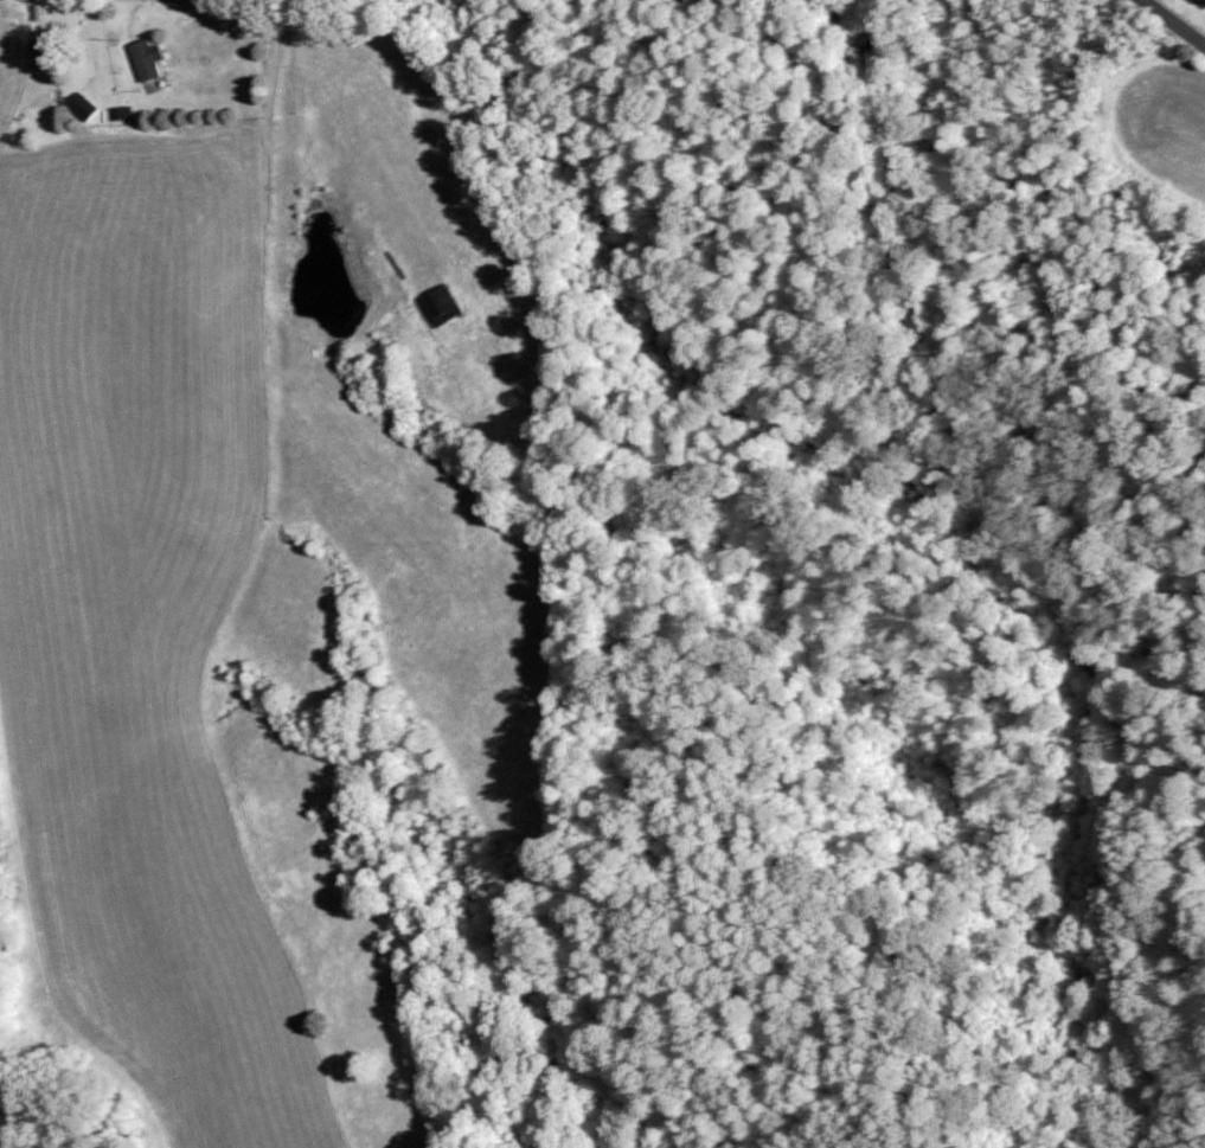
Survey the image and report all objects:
road: (1173, 23)
building: (146, 58)
building: (82, 105)
building: (121, 113)
road: (162, 117)
road: (310, 168)

